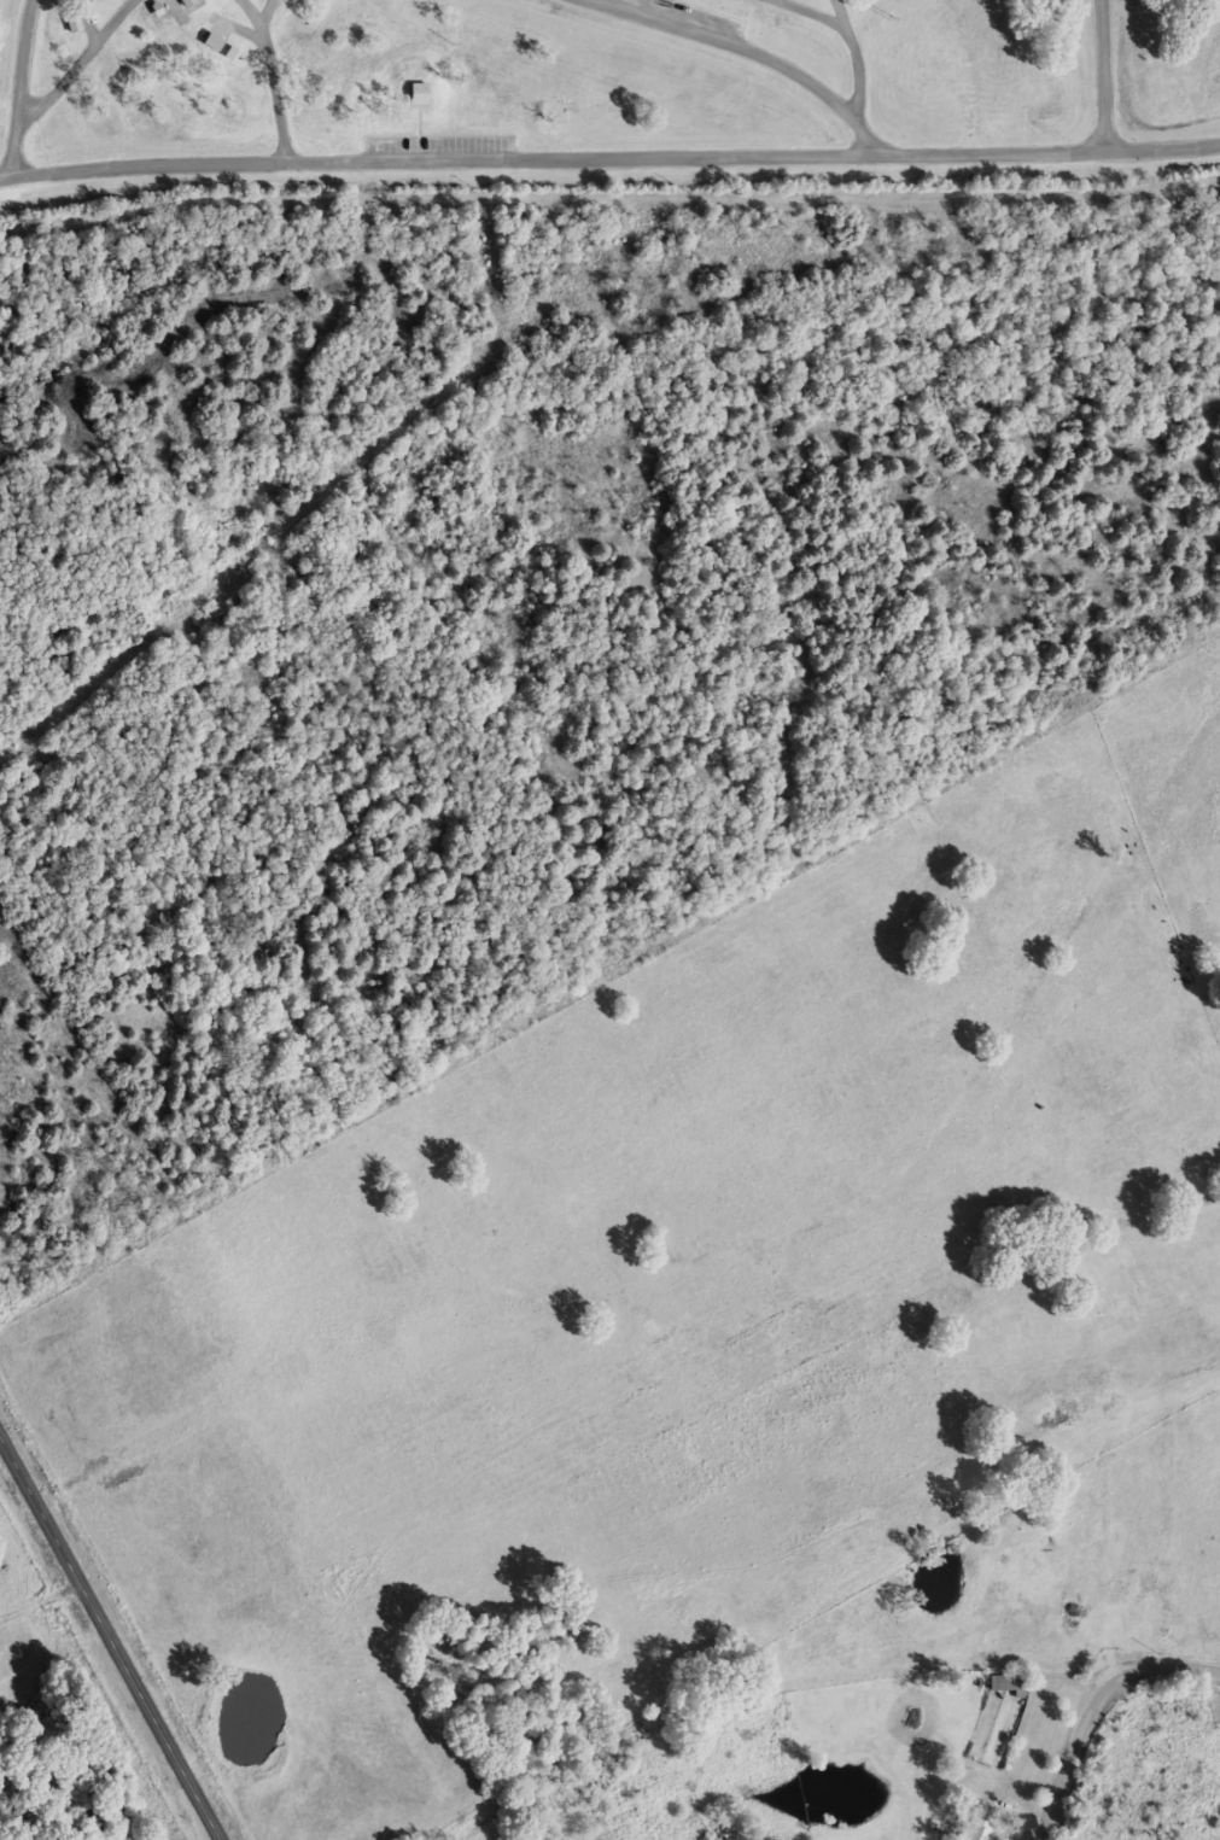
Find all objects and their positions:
building: (183, 1)
building: (71, 22)
building: (210, 40)
road: (729, 43)
road: (853, 53)
road: (76, 63)
road: (1101, 76)
road: (270, 78)
road: (18, 89)
building: (405, 93)
building: (418, 94)
road: (609, 159)
road: (109, 1641)
building: (1003, 1682)
road: (1091, 1706)
building: (977, 1821)

